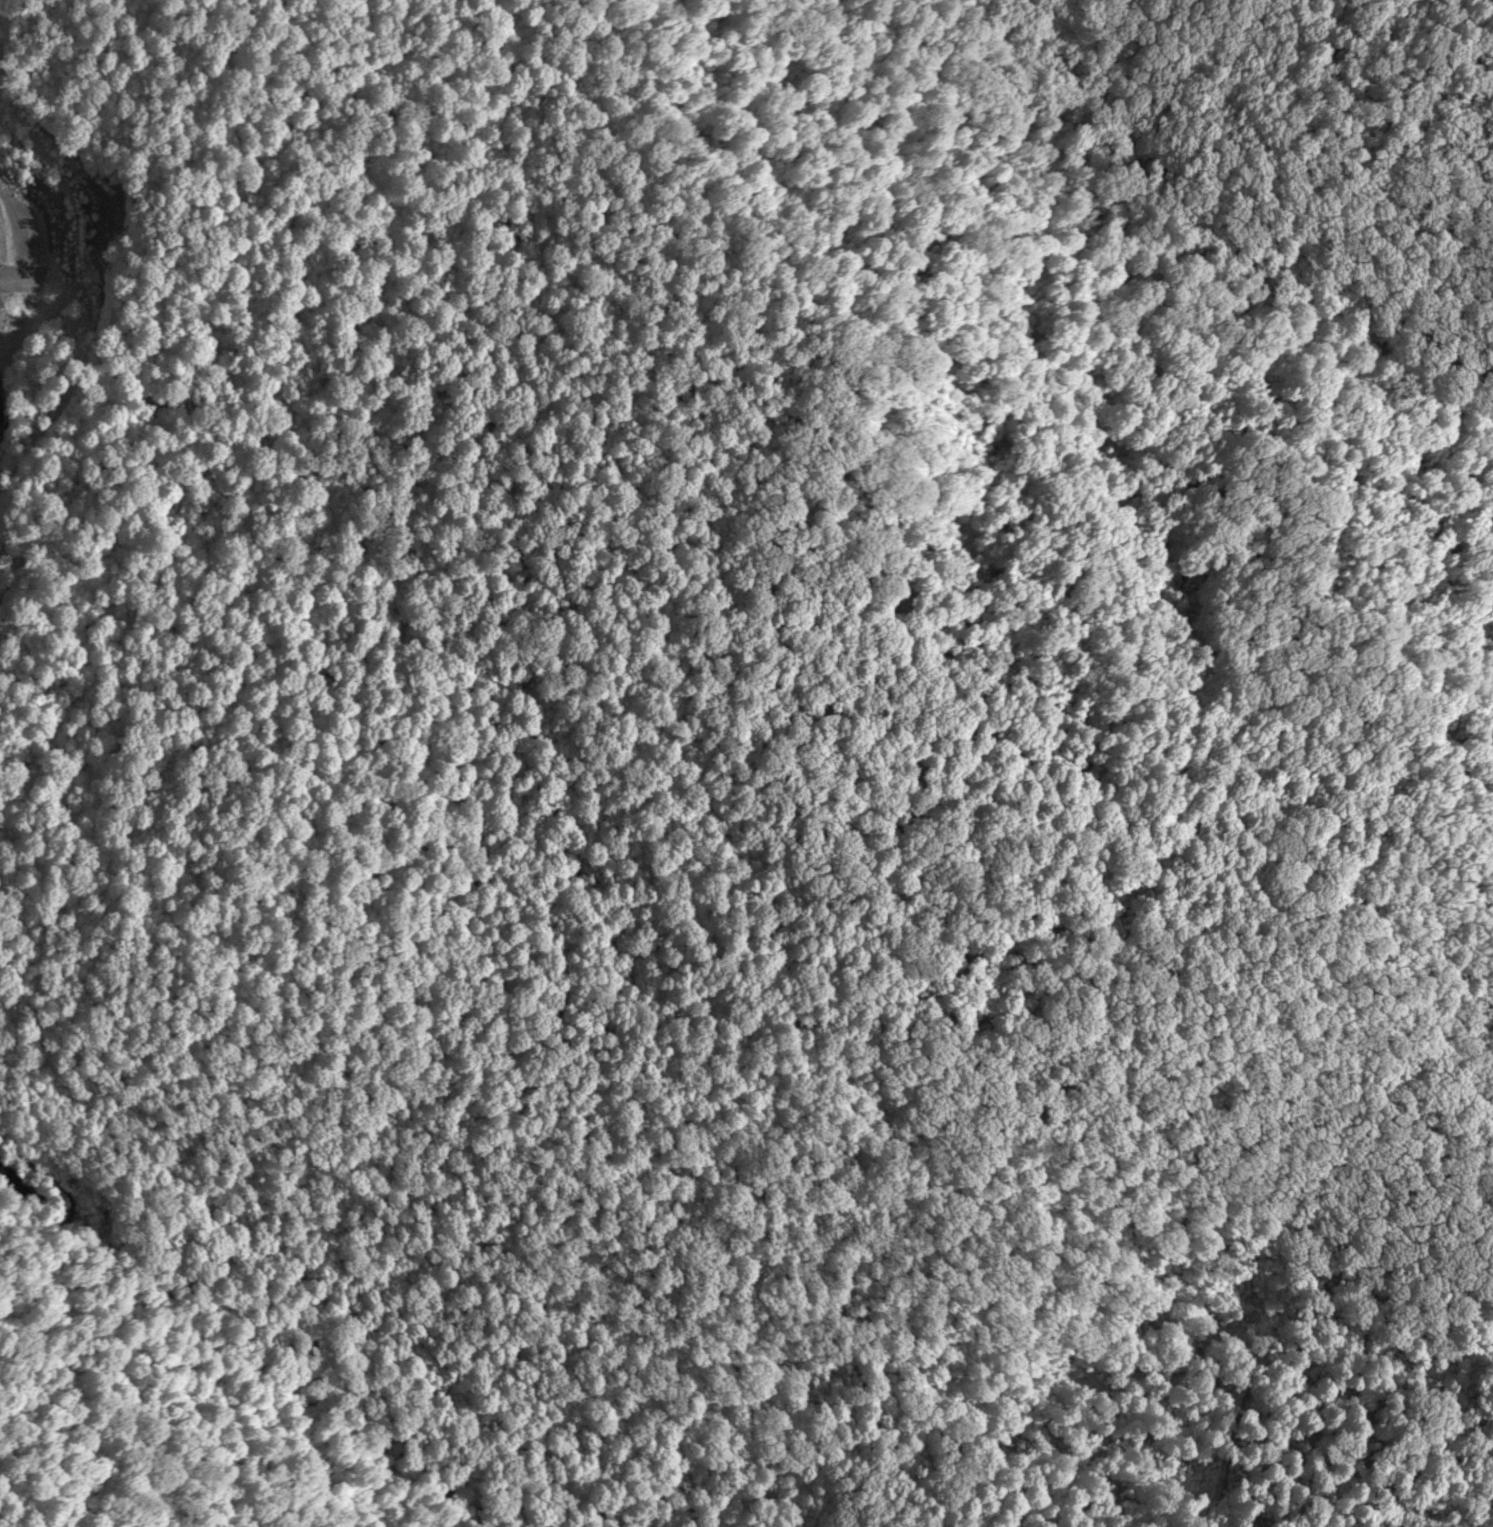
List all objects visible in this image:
road: (12, 223)
dam: (23, 274)
road: (30, 383)
road: (68, 1204)

